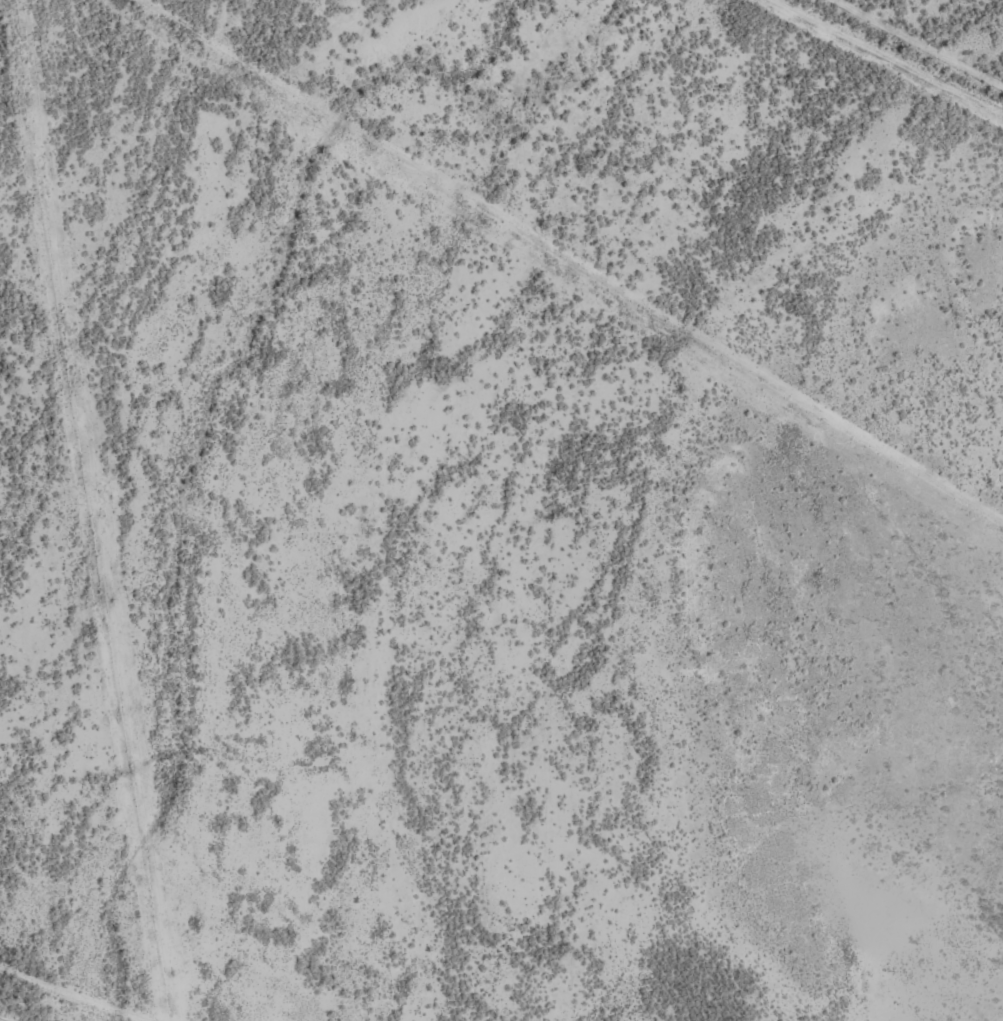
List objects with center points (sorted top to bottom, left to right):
road: (895, 55)

